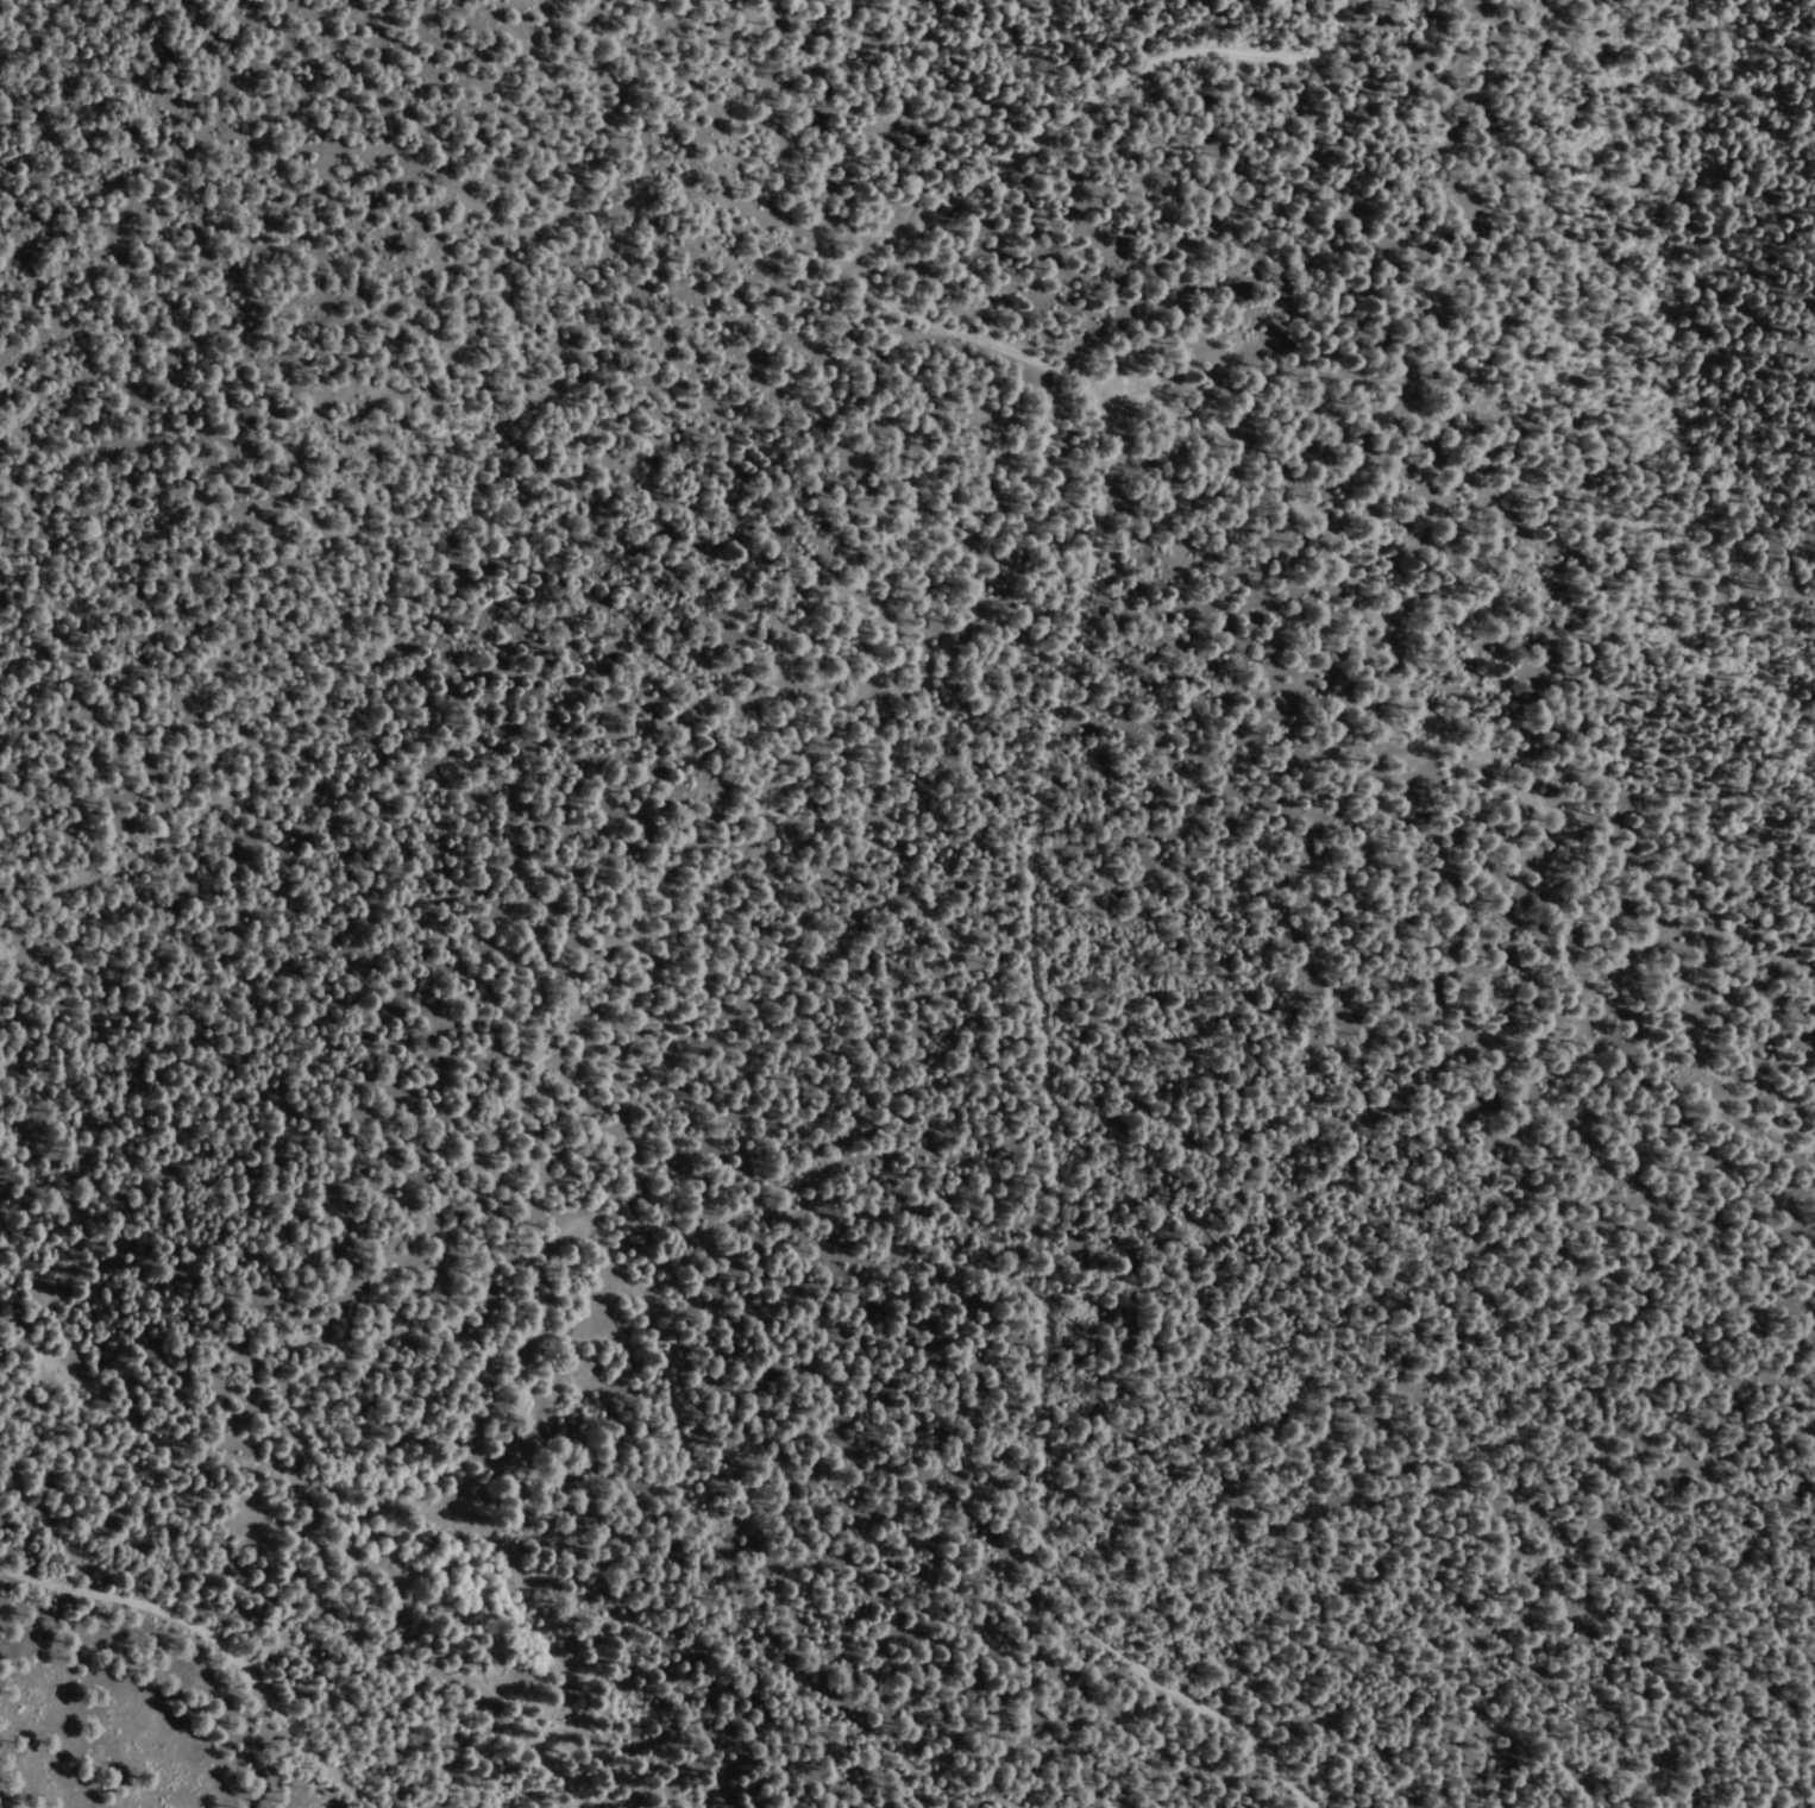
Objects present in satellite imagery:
road: (1012, 182)
road: (815, 302)
road: (1062, 654)
road: (212, 1638)

